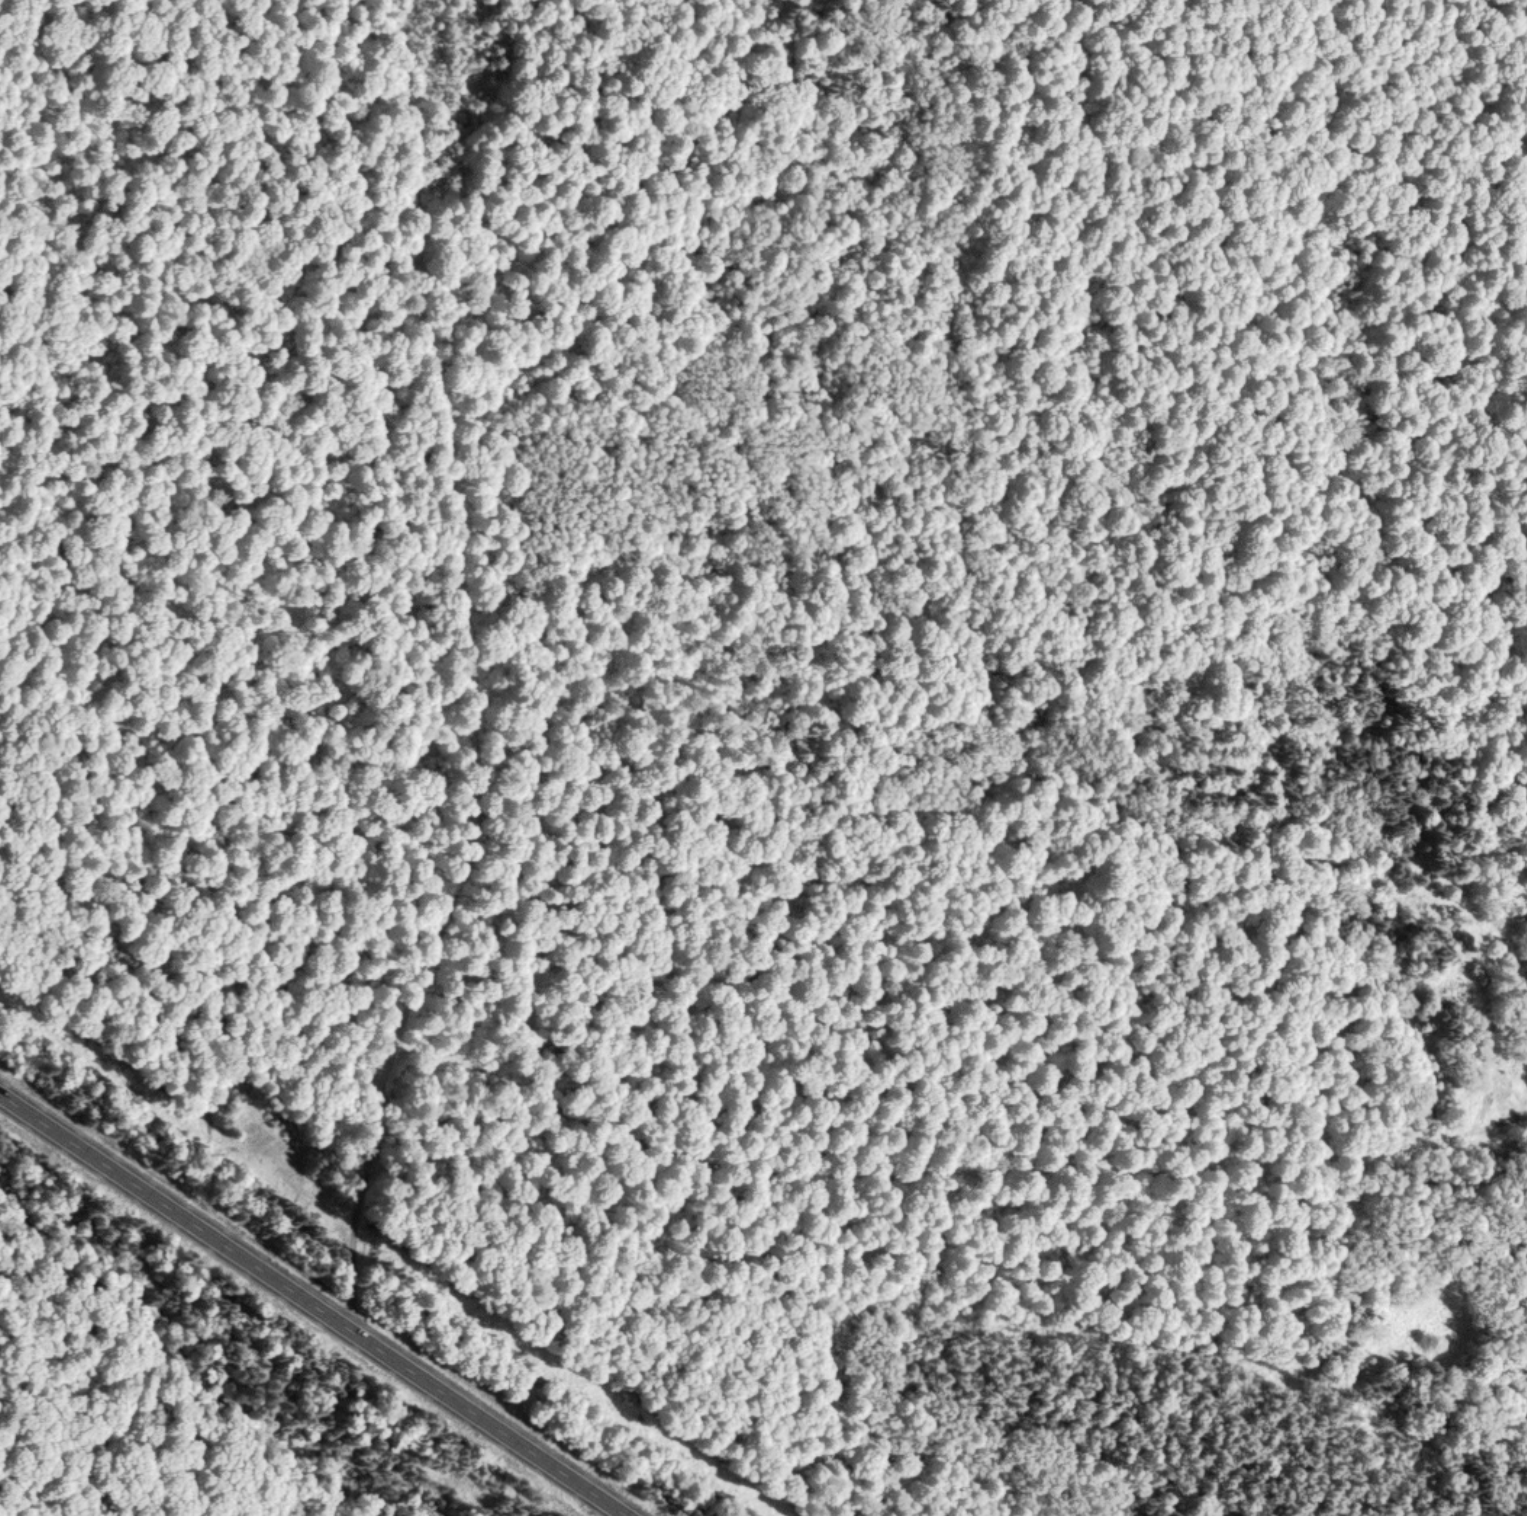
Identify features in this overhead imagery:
road: (313, 1305)

